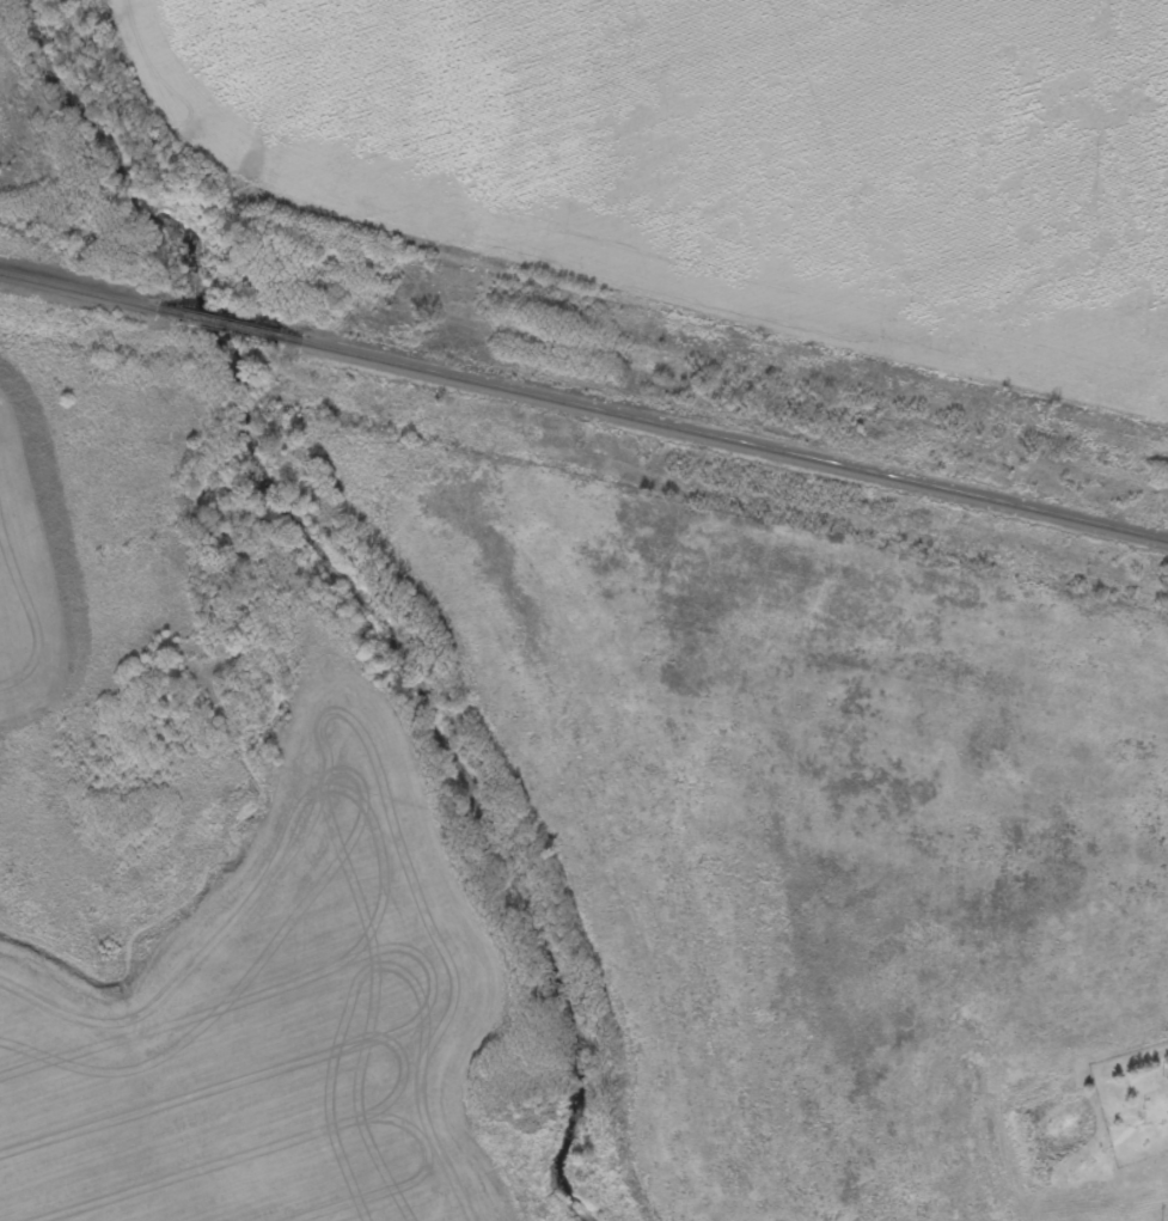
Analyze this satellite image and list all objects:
railway: (77, 293)
railway: (226, 326)
railway: (733, 444)

